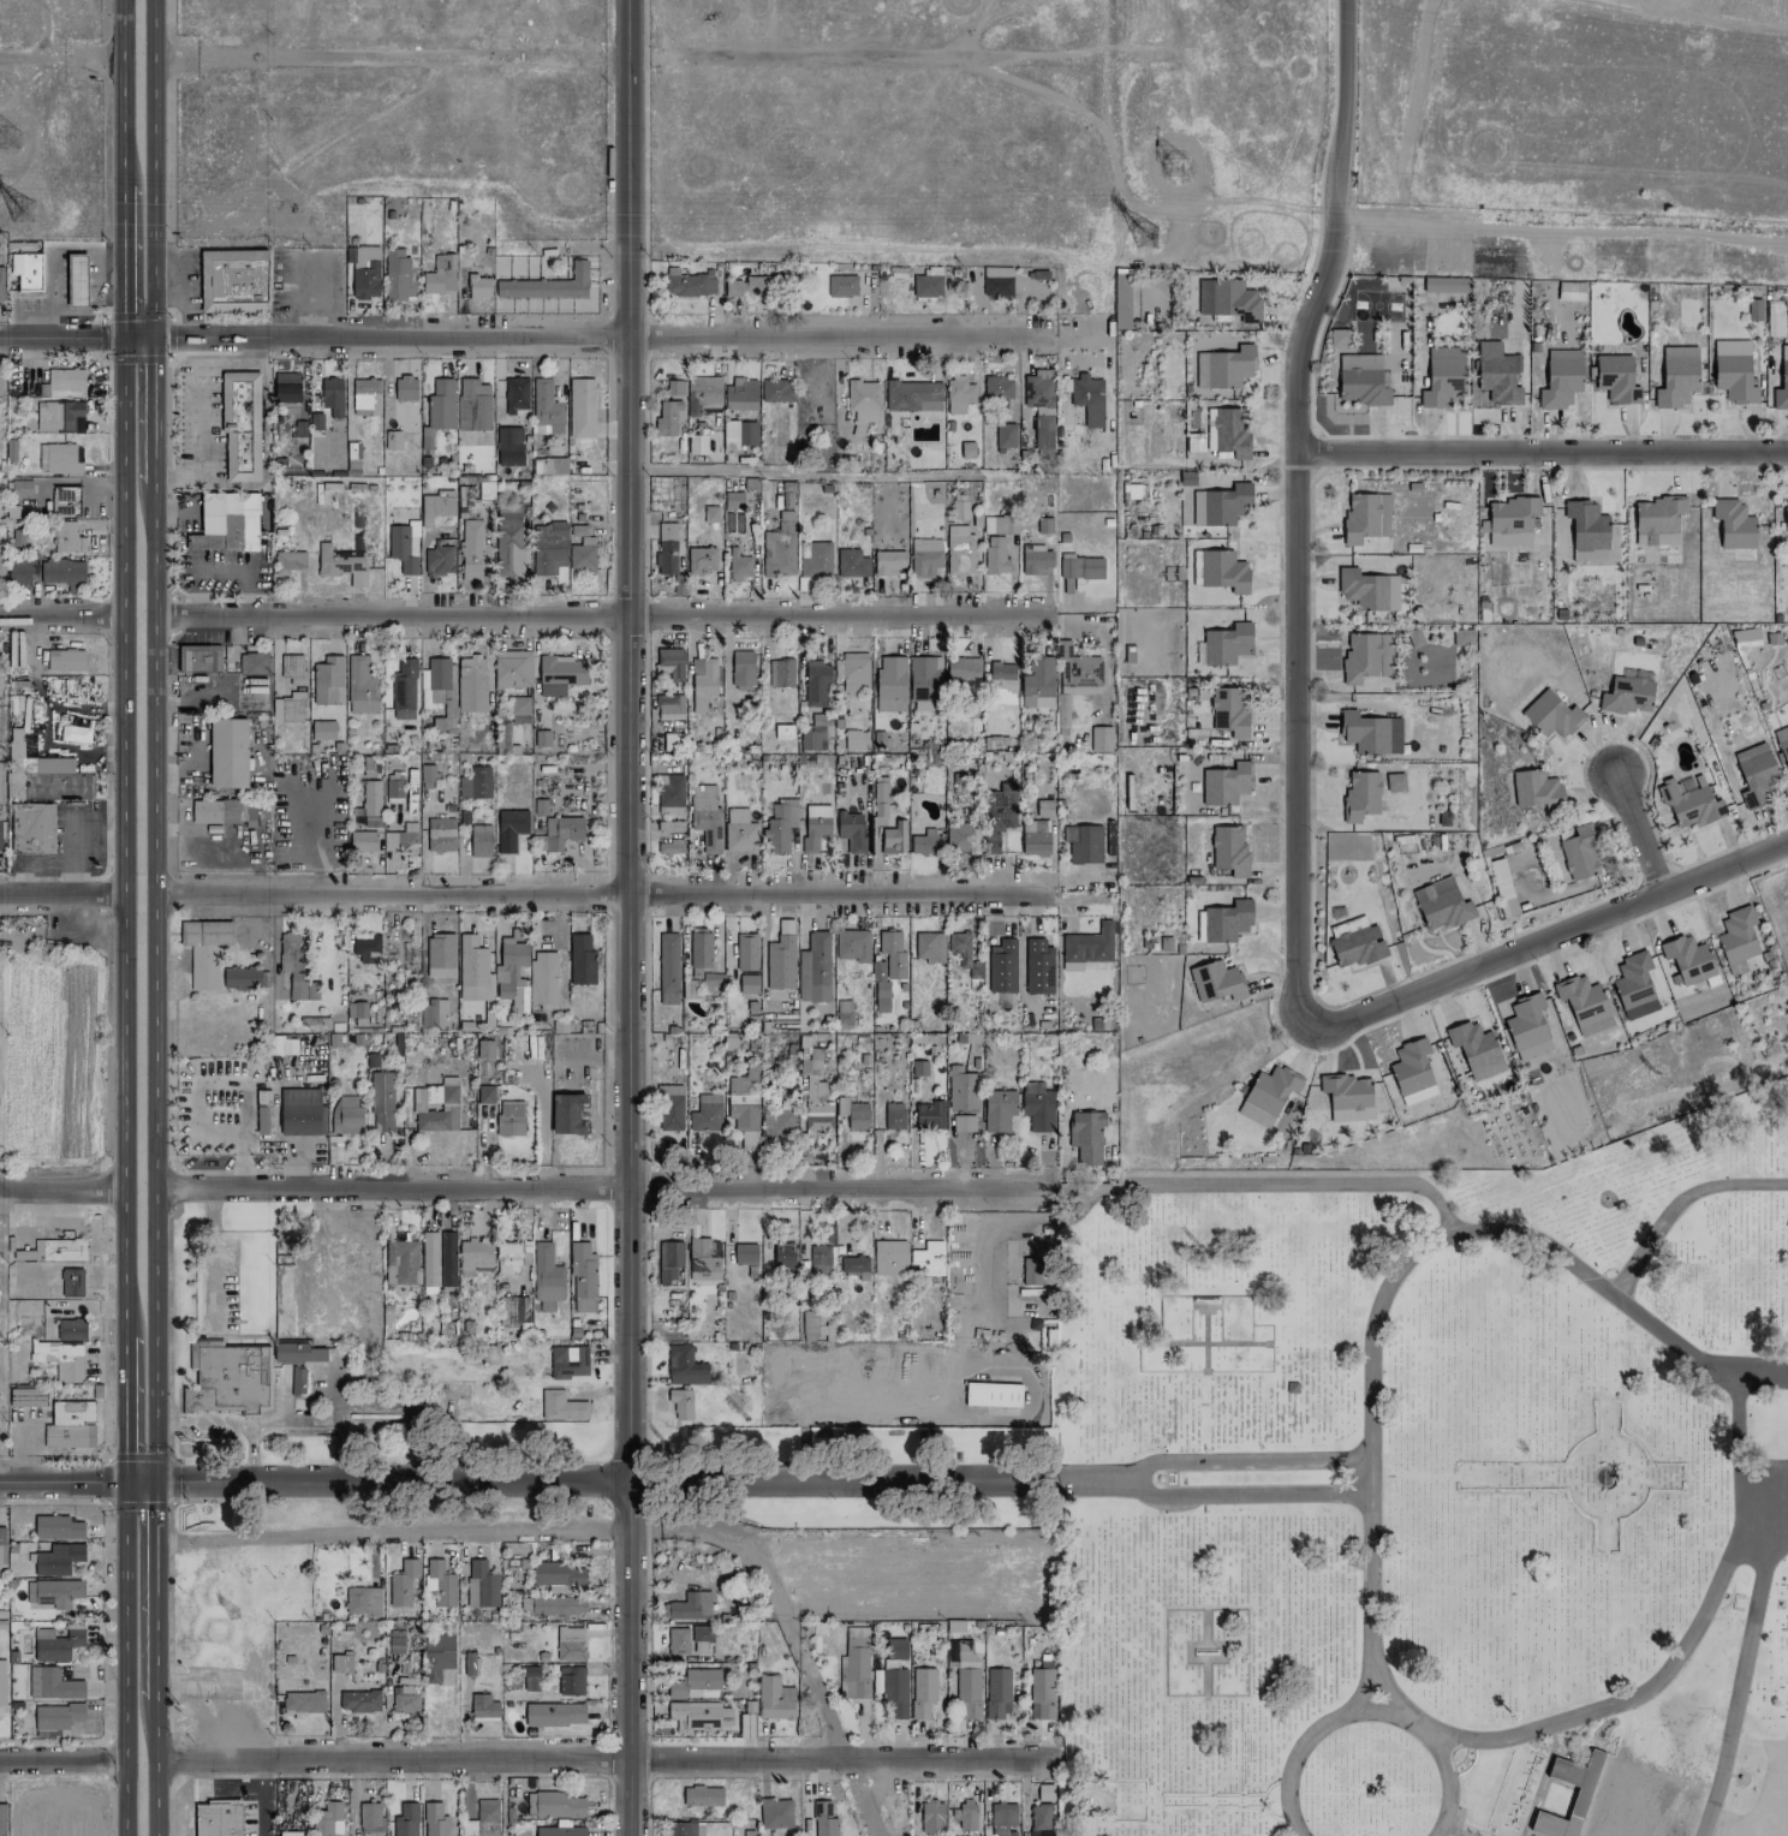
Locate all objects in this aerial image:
road: (630, 30)
road: (60, 59)
road: (854, 60)
road: (393, 64)
road: (121, 82)
power tower: (8, 139)
power tower: (1174, 167)
road: (153, 168)
power tower: (22, 213)
road: (1561, 231)
power tower: (1146, 238)
road: (123, 250)
building: (26, 270)
building: (365, 272)
building: (398, 275)
building: (440, 275)
building: (232, 280)
building: (77, 281)
building: (996, 281)
building: (926, 282)
building: (1, 284)
building: (687, 284)
building: (547, 285)
building: (841, 285)
building: (1444, 285)
building: (750, 286)
building: (478, 287)
building: (1569, 291)
building: (1227, 299)
building: (1121, 300)
building: (1753, 310)
building: (1774, 320)
road: (613, 336)
road: (74, 338)
traffic signals: (124, 338)
traffic signals: (151, 338)
building: (1339, 338)
building: (1223, 366)
building: (1733, 370)
building: (1496, 372)
building: (1676, 376)
building: (1560, 378)
building: (1616, 380)
building: (1361, 381)
building: (1782, 381)
building: (0, 382)
building: (65, 382)
building: (1442, 382)
building: (285, 387)
building: (675, 387)
building: (997, 387)
building: (404, 388)
building: (776, 391)
building: (515, 394)
building: (740, 394)
building: (958, 394)
building: (332, 395)
building: (702, 395)
building: (912, 395)
building: (365, 397)
building: (1087, 399)
building: (863, 404)
road: (198, 405)
building: (472, 405)
building: (547, 406)
building: (580, 407)
building: (1039, 407)
building: (439, 410)
building: (56, 416)
road: (151, 417)
building: (667, 418)
building: (316, 421)
building: (240, 425)
building: (299, 428)
building: (1230, 431)
building: (738, 434)
building: (1005, 436)
building: (393, 440)
building: (696, 443)
building: (509, 446)
building: (966, 449)
road: (1542, 451)
building: (353, 458)
building: (58, 459)
building: (548, 465)
road: (829, 477)
building: (18, 489)
building: (464, 495)
building: (65, 500)
building: (733, 500)
building: (1220, 505)
building: (436, 506)
building: (959, 509)
road: (1295, 509)
building: (710, 513)
building: (1786, 514)
building: (1366, 517)
building: (1657, 519)
building: (1510, 520)
building: (211, 524)
building: (1733, 524)
building: (999, 525)
building: (1043, 525)
building: (1586, 531)
building: (16, 537)
building: (67, 537)
building: (507, 538)
building: (404, 546)
building: (548, 547)
building: (666, 548)
building: (777, 548)
building: (580, 549)
building: (959, 549)
building: (470, 550)
building: (995, 555)
building: (0, 558)
building: (925, 558)
building: (813, 559)
building: (439, 560)
building: (701, 560)
building: (1036, 560)
building: (287, 561)
building: (887, 562)
building: (738, 564)
building: (851, 564)
building: (341, 565)
building: (1079, 568)
building: (18, 570)
building: (1218, 570)
building: (62, 573)
building: (1367, 589)
road: (61, 618)
road: (601, 619)
building: (1745, 637)
building: (1226, 644)
building: (1366, 656)
building: (199, 658)
building: (64, 660)
building: (670, 662)
building: (252, 663)
building: (292, 668)
building: (512, 668)
building: (741, 670)
building: (961, 670)
building: (780, 673)
building: (853, 673)
building: (560, 674)
building: (889, 678)
building: (923, 678)
building: (1075, 678)
building: (327, 680)
building: (471, 682)
building: (816, 682)
building: (1001, 682)
building: (0, 684)
building: (359, 684)
building: (1037, 684)
building: (703, 685)
building: (403, 690)
building: (441, 690)
building: (254, 693)
building: (1627, 695)
building: (669, 705)
building: (288, 708)
building: (519, 709)
building: (1228, 710)
building: (1551, 716)
building: (819, 723)
building: (322, 729)
building: (782, 732)
building: (1364, 732)
building: (542, 738)
building: (1099, 739)
building: (811, 740)
building: (856, 740)
building: (672, 741)
building: (1782, 744)
building: (14, 745)
building: (227, 752)
building: (1756, 775)
building: (53, 779)
building: (1394, 782)
building: (475, 783)
building: (1224, 783)
building: (669, 786)
building: (393, 788)
building: (1536, 789)
building: (1360, 795)
building: (370, 798)
building: (878, 798)
building: (1043, 801)
building: (1688, 801)
building: (540, 806)
building: (214, 811)
building: (997, 815)
building: (705, 817)
building: (364, 819)
building: (669, 825)
building: (780, 825)
building: (813, 825)
building: (31, 827)
road: (124, 827)
building: (509, 828)
road: (1637, 829)
building: (850, 830)
building: (0, 831)
road: (74, 831)
building: (561, 831)
building: (739, 831)
building: (440, 834)
building: (961, 837)
building: (1035, 837)
building: (892, 839)
building: (400, 840)
building: (362, 841)
building: (479, 841)
building: (925, 841)
building: (1083, 844)
building: (669, 847)
building: (1229, 850)
building: (1502, 887)
road: (61, 895)
road: (594, 895)
building: (1441, 904)
building: (1226, 920)
road: (1546, 937)
building: (1736, 938)
building: (852, 946)
building: (928, 946)
building: (1086, 947)
building: (1357, 947)
road: (626, 948)
building: (366, 949)
building: (746, 950)
building: (204, 952)
building: (699, 952)
building: (892, 953)
building: (962, 953)
building: (440, 955)
road: (801, 956)
building: (580, 959)
building: (1687, 959)
building: (780, 962)
road: (762, 965)
building: (296, 966)
building: (817, 966)
building: (1002, 966)
building: (1037, 966)
building: (667, 968)
building: (511, 973)
building: (240, 978)
building: (542, 979)
building: (473, 980)
building: (711, 982)
building: (1215, 982)
building: (747, 984)
building: (880, 985)
building: (1633, 985)
road: (155, 990)
building: (1584, 1005)
building: (433, 1013)
building: (844, 1014)
building: (1526, 1027)
building: (280, 1043)
building: (1472, 1044)
building: (484, 1049)
road: (592, 1056)
building: (918, 1067)
building: (1485, 1071)
building: (1412, 1072)
road: (216, 1086)
building: (961, 1089)
building: (484, 1093)
building: (815, 1095)
building: (1266, 1095)
building: (1347, 1097)
road: (595, 1101)
building: (381, 1102)
building: (435, 1105)
building: (744, 1105)
building: (1037, 1107)
building: (670, 1108)
building: (999, 1110)
building: (300, 1111)
building: (705, 1113)
building: (852, 1113)
building: (566, 1114)
building: (929, 1114)
building: (345, 1115)
building: (893, 1115)
building: (508, 1119)
building: (262, 1122)
building: (962, 1122)
building: (777, 1123)
building: (1086, 1137)
road: (257, 1141)
road: (1304, 1184)
road: (62, 1190)
road: (603, 1192)
road: (1677, 1203)
building: (59, 1250)
road: (1412, 1251)
building: (743, 1253)
building: (509, 1256)
building: (473, 1257)
building: (782, 1257)
building: (889, 1257)
building: (447, 1258)
road: (211, 1259)
building: (703, 1259)
building: (821, 1259)
building: (928, 1259)
building: (669, 1260)
building: (401, 1262)
building: (854, 1265)
building: (1030, 1271)
building: (546, 1277)
building: (583, 1278)
building: (71, 1282)
building: (513, 1310)
building: (815, 1325)
building: (71, 1329)
building: (297, 1353)
building: (60, 1359)
building: (567, 1361)
building: (683, 1361)
building: (228, 1377)
building: (297, 1381)
building: (993, 1394)
building: (26, 1396)
road: (125, 1400)
building: (680, 1405)
building: (559, 1406)
road: (23, 1411)
road: (1735, 1415)
road: (232, 1423)
building: (70, 1425)
road: (294, 1425)
road: (371, 1426)
road: (1248, 1461)
road: (1045, 1476)
road: (1065, 1476)
road: (517, 1480)
road: (1101, 1480)
traffic signals: (125, 1484)
traffic signals: (156, 1484)
road: (1045, 1484)
road: (1065, 1484)
road: (1250, 1494)
park: (1428, 1494)
road: (1735, 1509)
road: (1730, 1518)
building: (56, 1528)
road: (609, 1531)
building: (1, 1544)
road: (1774, 1545)
building: (56, 1558)
building: (558, 1573)
building: (401, 1582)
building: (440, 1582)
building: (483, 1582)
building: (53, 1592)
road: (157, 1597)
building: (362, 1600)
building: (558, 1605)
building: (690, 1605)
building: (399, 1611)
building: (699, 1638)
building: (394, 1641)
building: (678, 1641)
building: (56, 1643)
building: (570, 1643)
building: (895, 1649)
building: (437, 1656)
road: (124, 1659)
building: (393, 1659)
building: (341, 1662)
building: (469, 1663)
building: (856, 1667)
building: (964, 1675)
building: (531, 1679)
building: (570, 1680)
building: (1, 1681)
building: (52, 1683)
building: (695, 1683)
building: (1041, 1689)
building: (894, 1692)
building: (922, 1692)
road: (1357, 1692)
building: (996, 1693)
building: (405, 1698)
building: (773, 1698)
building: (358, 1700)
road: (1394, 1700)
building: (303, 1701)
road: (333, 1703)
road: (1610, 1703)
road: (1734, 1703)
building: (483, 1707)
road: (1366, 1711)
building: (554, 1713)
building: (697, 1715)
building: (56, 1716)
building: (746, 1724)
road: (604, 1760)
road: (62, 1762)
road: (157, 1774)
building: (1044, 1793)
building: (702, 1795)
building: (1580, 1798)
road: (262, 1799)
building: (554, 1805)
building: (775, 1813)
building: (966, 1814)
building: (931, 1817)
building: (1002, 1817)
building: (216, 1818)
building: (370, 1818)
building: (1, 1819)
building: (327, 1819)
building: (434, 1819)
building: (482, 1819)
building: (823, 1819)
building: (1039, 1819)
building: (405, 1820)
building: (680, 1828)
building: (560, 1831)
building: (747, 1832)
building: (290, 1834)

